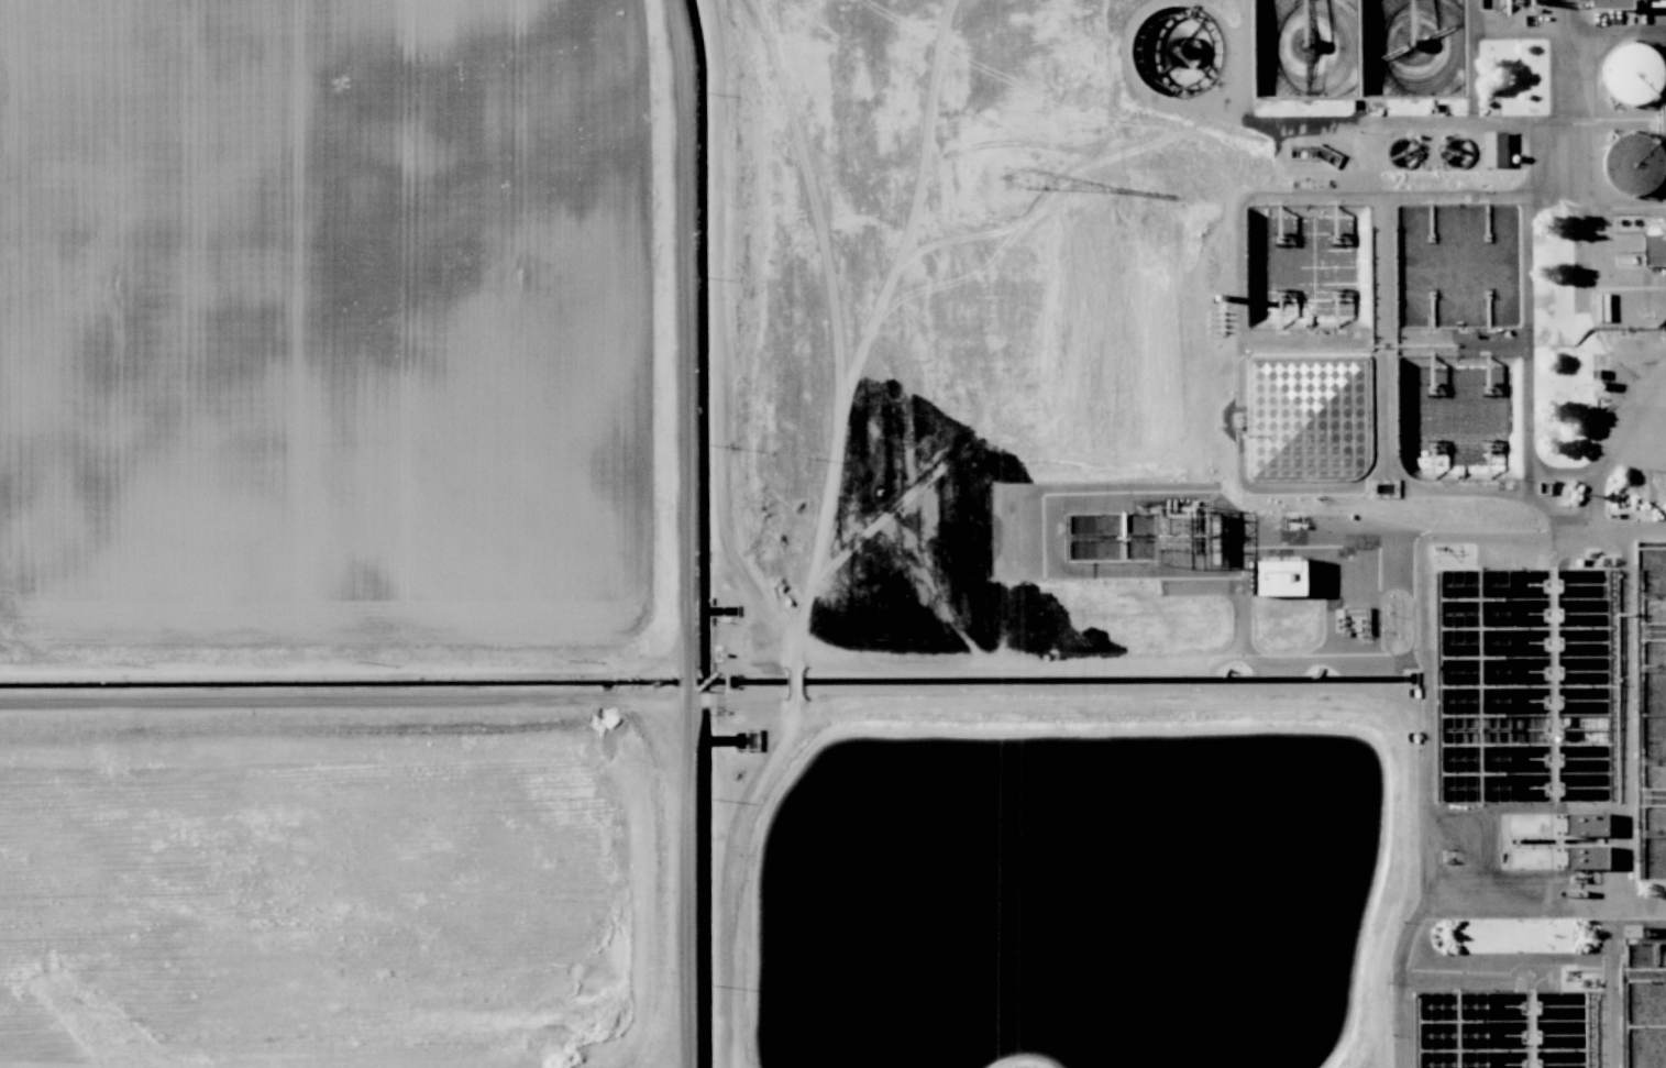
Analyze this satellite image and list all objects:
wastewater plant: (1359, 47)
wastewater plant: (1176, 48)
building: (1630, 70)
building: (1663, 115)
building: (1492, 146)
building: (1629, 162)
power tower: (1017, 177)
wastewater plant: (1458, 266)
wastewater plant: (1304, 267)
wastewater plant: (326, 318)
wastewater plant: (1308, 418)
wastewater plant: (1457, 418)
road: (684, 533)
wastewater plant: (832, 533)
road: (342, 660)
wastewater plant: (1522, 684)
road: (343, 697)
wastewater plant: (1651, 713)
road: (1427, 718)
building: (1582, 823)
building: (1584, 856)
wastewater plant: (1066, 895)
wastewater plant: (321, 901)
wastewater plant: (1646, 1004)
wastewater plant: (1501, 1028)

